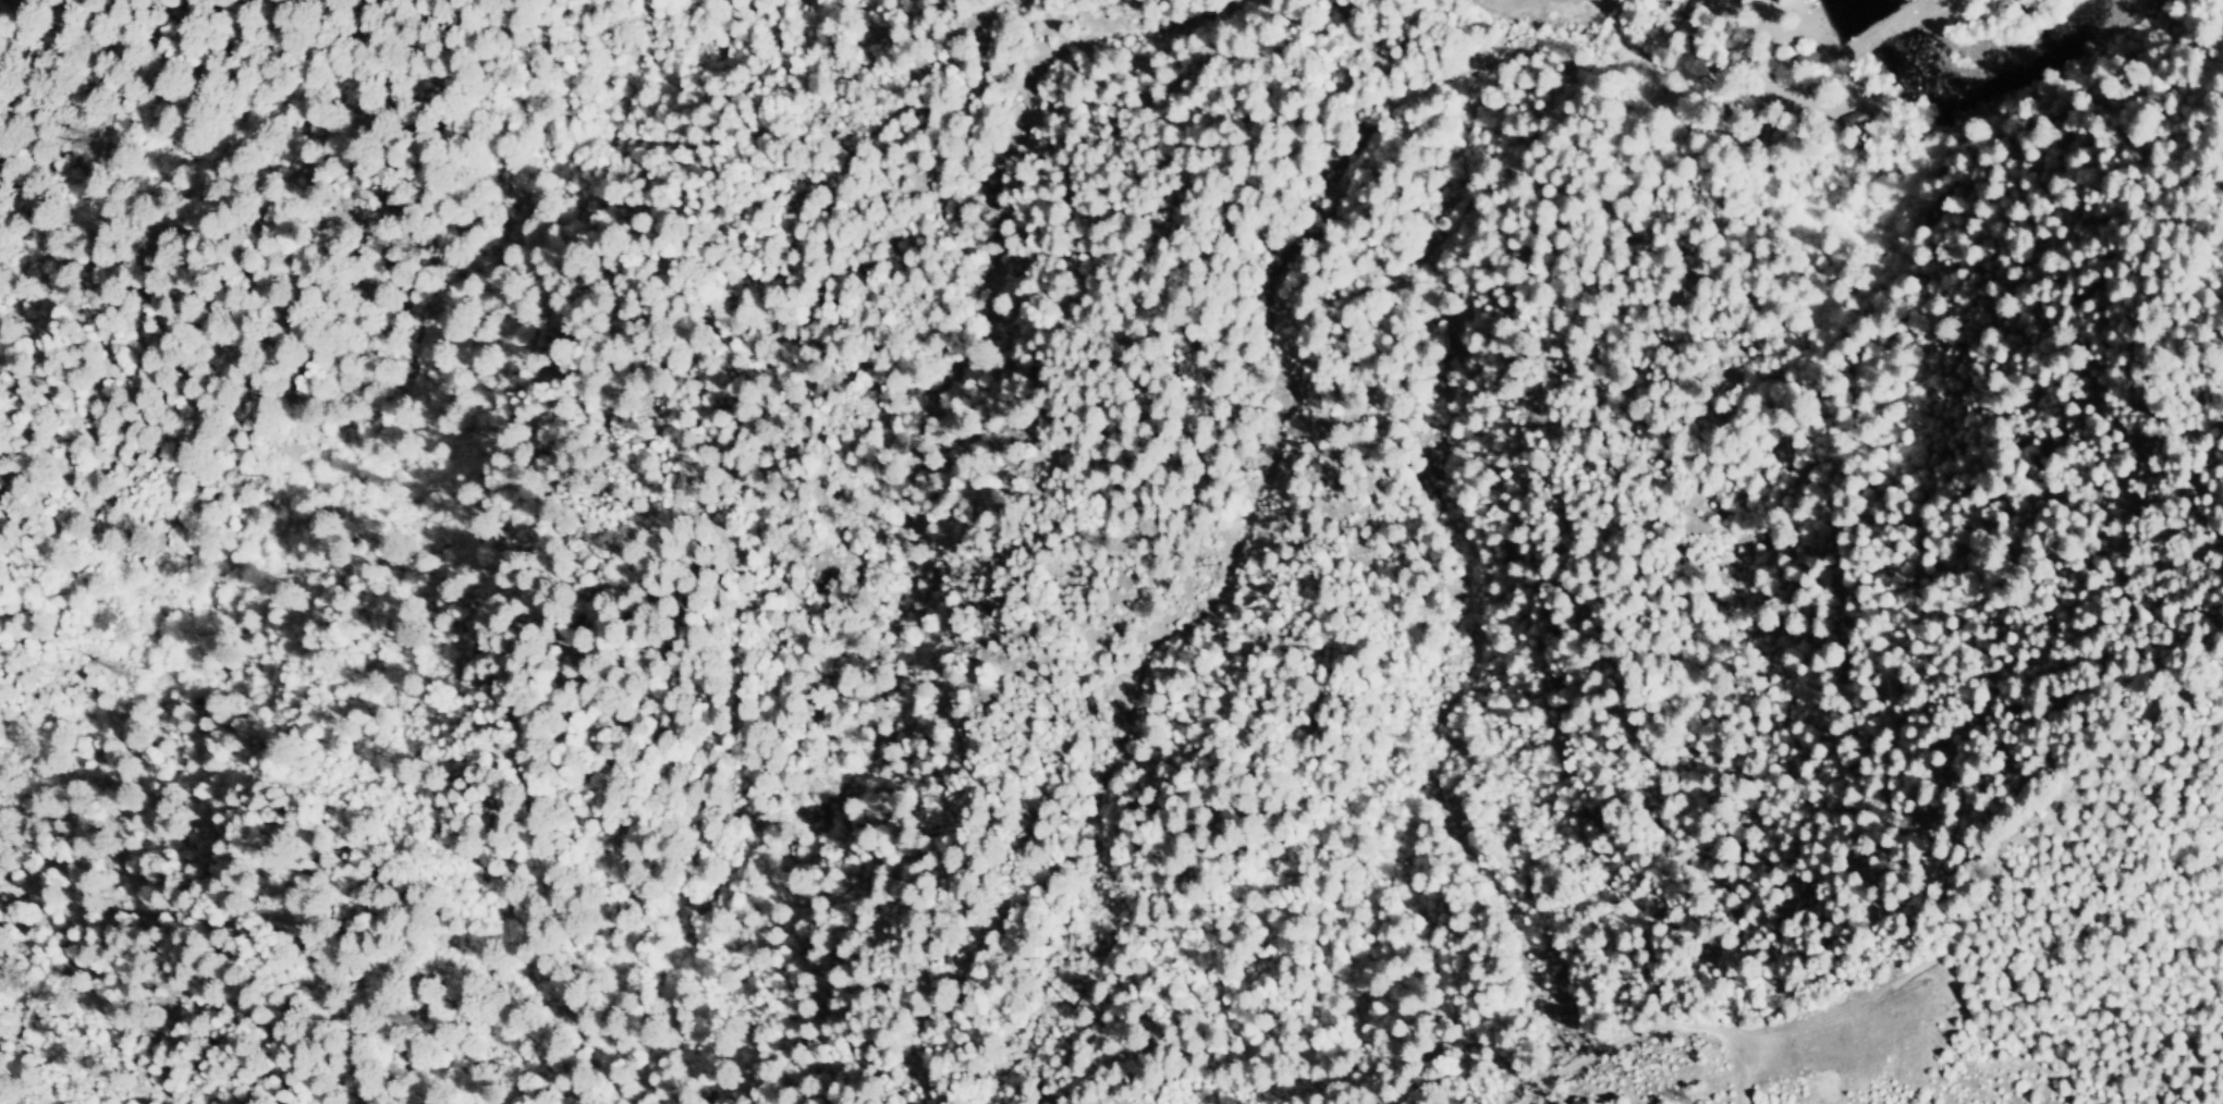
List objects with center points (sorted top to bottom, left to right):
road: (1791, 58)
river: (2006, 77)

